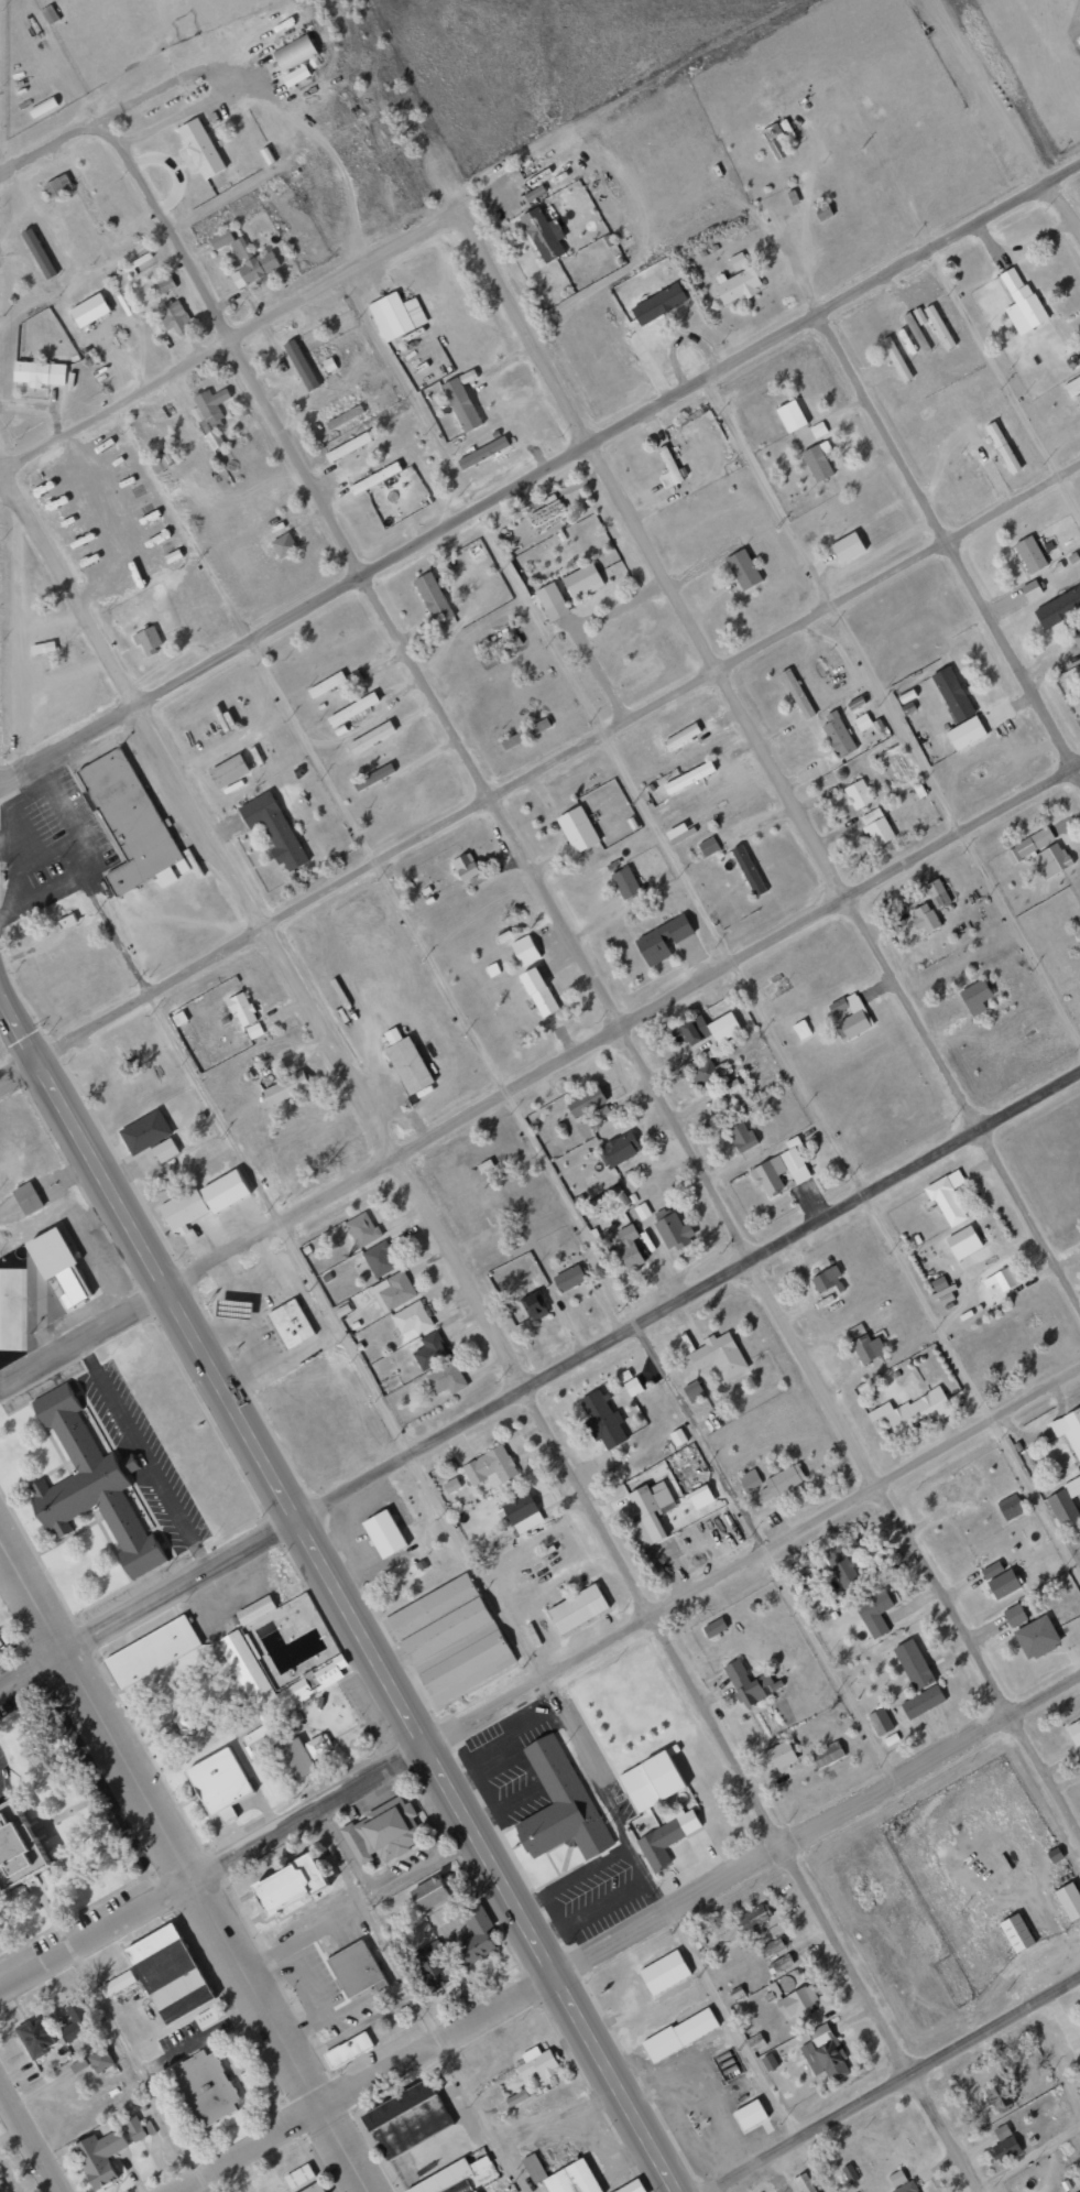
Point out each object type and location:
building: (294, 53)
building: (295, 76)
building: (776, 141)
road: (51, 144)
building: (200, 148)
building: (57, 186)
road: (1065, 208)
building: (544, 234)
building: (221, 239)
building: (738, 260)
building: (251, 265)
building: (165, 283)
building: (738, 286)
building: (1021, 302)
building: (658, 304)
building: (89, 310)
building: (396, 315)
building: (919, 315)
building: (173, 316)
building: (939, 326)
road: (233, 339)
building: (896, 359)
building: (328, 365)
building: (39, 373)
building: (467, 377)
road: (1005, 380)
building: (1072, 387)
building: (461, 404)
building: (338, 408)
building: (210, 414)
building: (790, 416)
building: (345, 417)
building: (348, 446)
building: (1002, 447)
building: (482, 453)
building: (818, 460)
building: (162, 462)
building: (668, 468)
road: (538, 473)
building: (375, 478)
building: (547, 516)
road: (947, 544)
building: (283, 545)
building: (847, 546)
building: (1030, 553)
building: (743, 568)
building: (582, 580)
building: (1030, 589)
building: (433, 597)
building: (552, 600)
building: (1058, 607)
building: (1079, 632)
building: (146, 639)
building: (43, 647)
building: (503, 647)
building: (326, 684)
building: (797, 693)
building: (952, 693)
road: (893, 707)
building: (352, 708)
building: (862, 721)
building: (535, 728)
building: (966, 733)
building: (838, 734)
building: (681, 736)
building: (371, 737)
building: (512, 740)
road: (767, 762)
building: (228, 771)
road: (538, 772)
building: (373, 775)
building: (688, 777)
building: (859, 793)
building: (130, 810)
building: (876, 826)
building: (273, 828)
building: (578, 828)
building: (1029, 844)
building: (708, 846)
building: (1051, 859)
building: (465, 867)
building: (748, 869)
building: (625, 883)
building: (937, 892)
building: (68, 909)
building: (925, 916)
road: (711, 924)
building: (662, 940)
building: (524, 949)
building: (492, 969)
road: (592, 976)
building: (538, 991)
building: (975, 997)
building: (242, 1009)
building: (849, 1016)
building: (179, 1018)
building: (706, 1029)
building: (801, 1029)
building: (254, 1030)
building: (392, 1034)
building: (408, 1065)
building: (707, 1072)
road: (539, 1073)
building: (731, 1086)
building: (285, 1088)
building: (585, 1100)
building: (146, 1119)
building: (741, 1137)
building: (618, 1149)
building: (164, 1150)
building: (782, 1169)
building: (30, 1184)
building: (204, 1189)
building: (947, 1197)
building: (26, 1198)
road: (575, 1208)
building: (642, 1211)
building: (362, 1229)
building: (672, 1230)
building: (963, 1243)
building: (629, 1247)
building: (61, 1248)
building: (379, 1259)
building: (568, 1278)
building: (1004, 1278)
building: (826, 1279)
building: (393, 1290)
building: (236, 1293)
gas station: (236, 1293)
building: (534, 1305)
building: (233, 1309)
building: (292, 1311)
building: (412, 1321)
road: (489, 1324)
road: (348, 1336)
building: (865, 1345)
building: (430, 1350)
building: (719, 1356)
road: (572, 1359)
building: (446, 1378)
building: (632, 1387)
building: (692, 1391)
building: (913, 1410)
building: (602, 1419)
building: (1069, 1430)
building: (678, 1436)
building: (490, 1466)
building: (91, 1472)
building: (750, 1479)
building: (781, 1482)
building: (451, 1486)
building: (1072, 1486)
building: (700, 1497)
building: (652, 1507)
building: (1011, 1507)
building: (1062, 1508)
building: (522, 1512)
building: (386, 1521)
building: (841, 1566)
building: (992, 1570)
building: (1003, 1584)
road: (337, 1587)
building: (429, 1607)
building: (577, 1609)
building: (254, 1610)
building: (874, 1612)
building: (1015, 1615)
road: (637, 1623)
building: (714, 1627)
building: (1036, 1637)
building: (152, 1638)
building: (457, 1651)
building: (243, 1665)
building: (913, 1665)
building: (329, 1668)
road: (32, 1669)
building: (750, 1683)
building: (293, 1694)
building: (921, 1702)
building: (880, 1722)
building: (1074, 1732)
building: (258, 1740)
building: (306, 1743)
building: (782, 1754)
building: (828, 1754)
building: (219, 1765)
building: (652, 1779)
building: (559, 1791)
building: (382, 1821)
building: (21, 1823)
building: (667, 1836)
road: (183, 1857)
building: (287, 1884)
building: (429, 1895)
road: (700, 1896)
building: (1069, 1900)
building: (752, 1917)
building: (1016, 1932)
road: (97, 1934)
building: (476, 1934)
building: (697, 1939)
building: (771, 1947)
building: (356, 1954)
building: (779, 1964)
building: (430, 1965)
building: (664, 1972)
building: (168, 1973)
building: (117, 1983)
road: (428, 1998)
building: (797, 2001)
building: (206, 2017)
building: (76, 2020)
road: (735, 2025)
building: (679, 2033)
building: (34, 2038)
building: (348, 2049)
building: (825, 2053)
building: (100, 2060)
building: (768, 2062)
building: (538, 2063)
road: (142, 2070)
building: (1079, 2083)
road: (892, 2084)
building: (204, 2087)
building: (999, 2094)
building: (520, 2096)
building: (1055, 2108)
building: (750, 2114)
building: (406, 2119)
building: (135, 2128)
road: (30, 2139)
building: (1004, 2144)
road: (244, 2149)
road: (1016, 2156)
building: (99, 2157)
building: (534, 2167)
building: (849, 2172)
building: (443, 2178)
building: (896, 2178)
building: (572, 2179)
building: (314, 2188)
building: (632, 2188)
building: (905, 2188)
building: (0, 2190)
building: (476, 2191)

